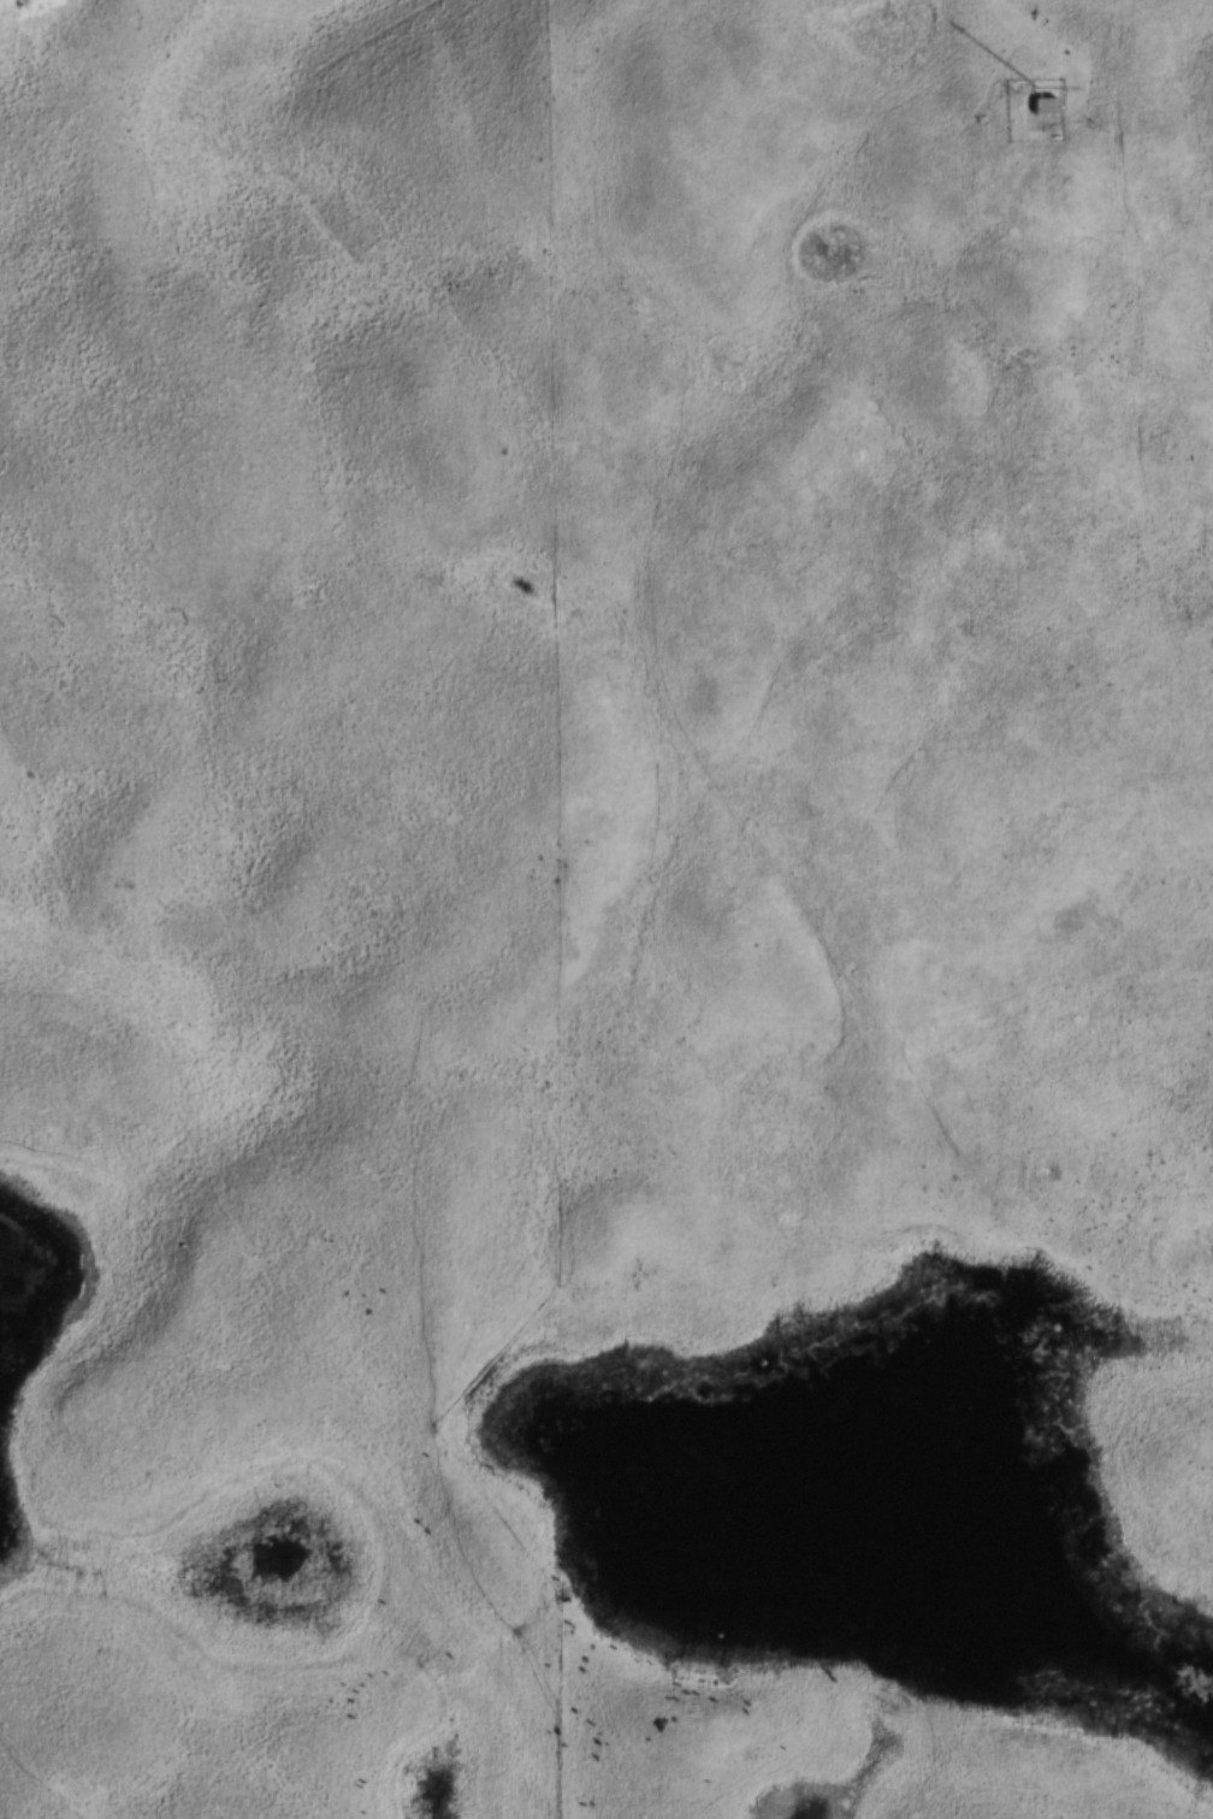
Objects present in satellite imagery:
building: (1042, 105)

